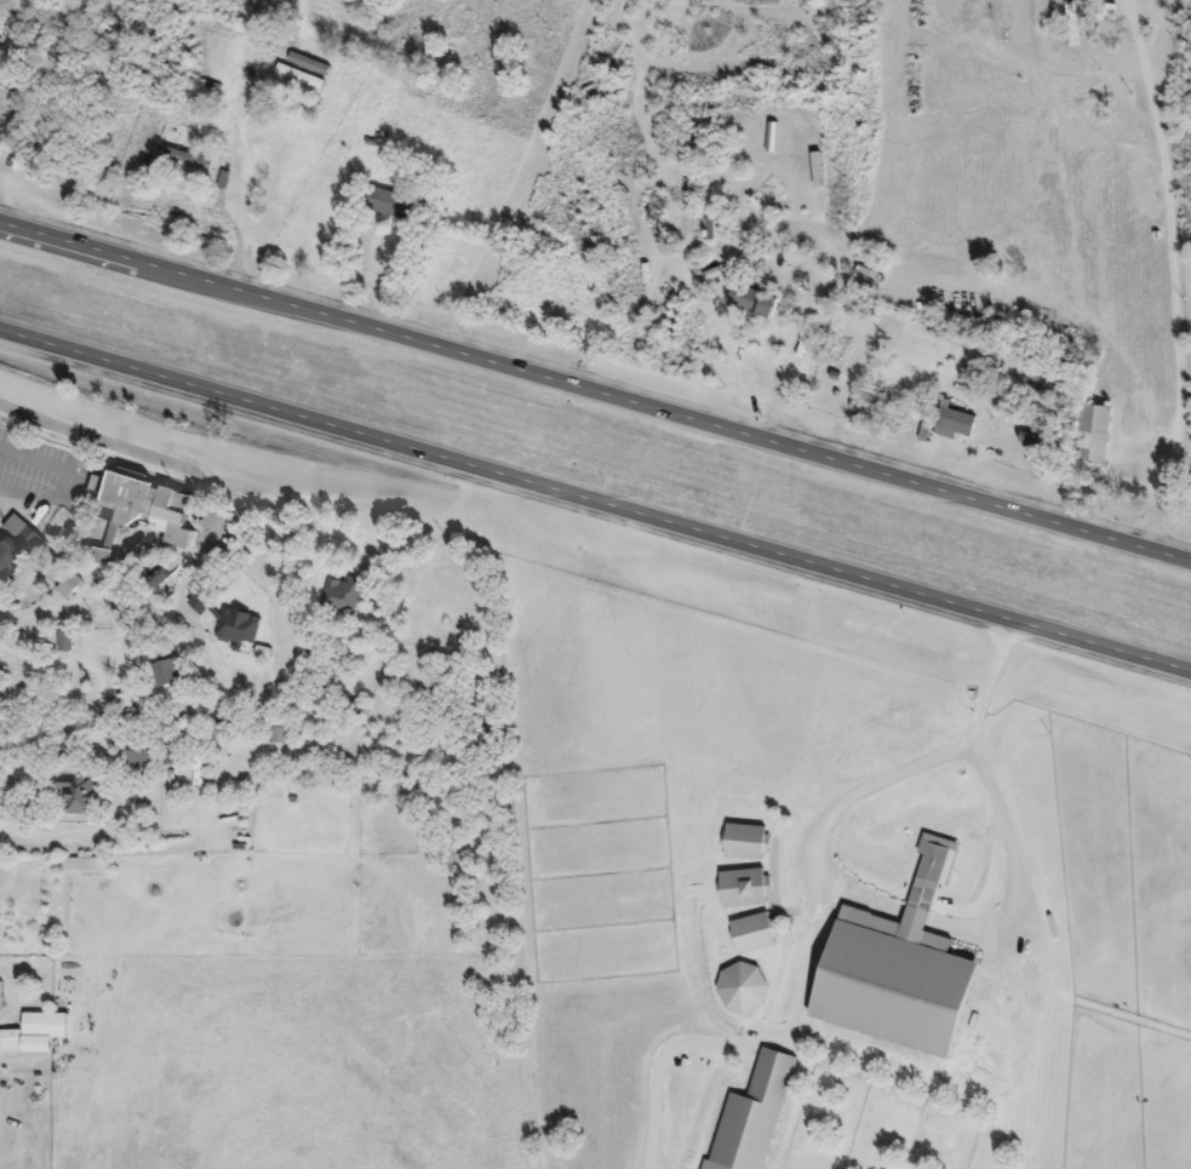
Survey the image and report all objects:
building: (1109, 13)
building: (1073, 24)
building: (310, 64)
building: (302, 78)
building: (208, 90)
building: (0, 136)
building: (189, 160)
road: (240, 166)
building: (396, 205)
building: (712, 224)
road: (1176, 274)
building: (755, 302)
building: (1032, 383)
road: (769, 386)
road: (595, 392)
building: (955, 424)
building: (1095, 434)
road: (99, 439)
road: (65, 479)
building: (148, 505)
road: (594, 505)
road: (402, 518)
building: (18, 552)
building: (343, 596)
building: (172, 674)
building: (225, 728)
building: (281, 733)
building: (177, 752)
building: (143, 756)
building: (82, 796)
road: (1001, 807)
road: (831, 809)
road: (86, 832)
road: (921, 917)
building: (904, 972)
building: (0, 996)
building: (47, 1026)

